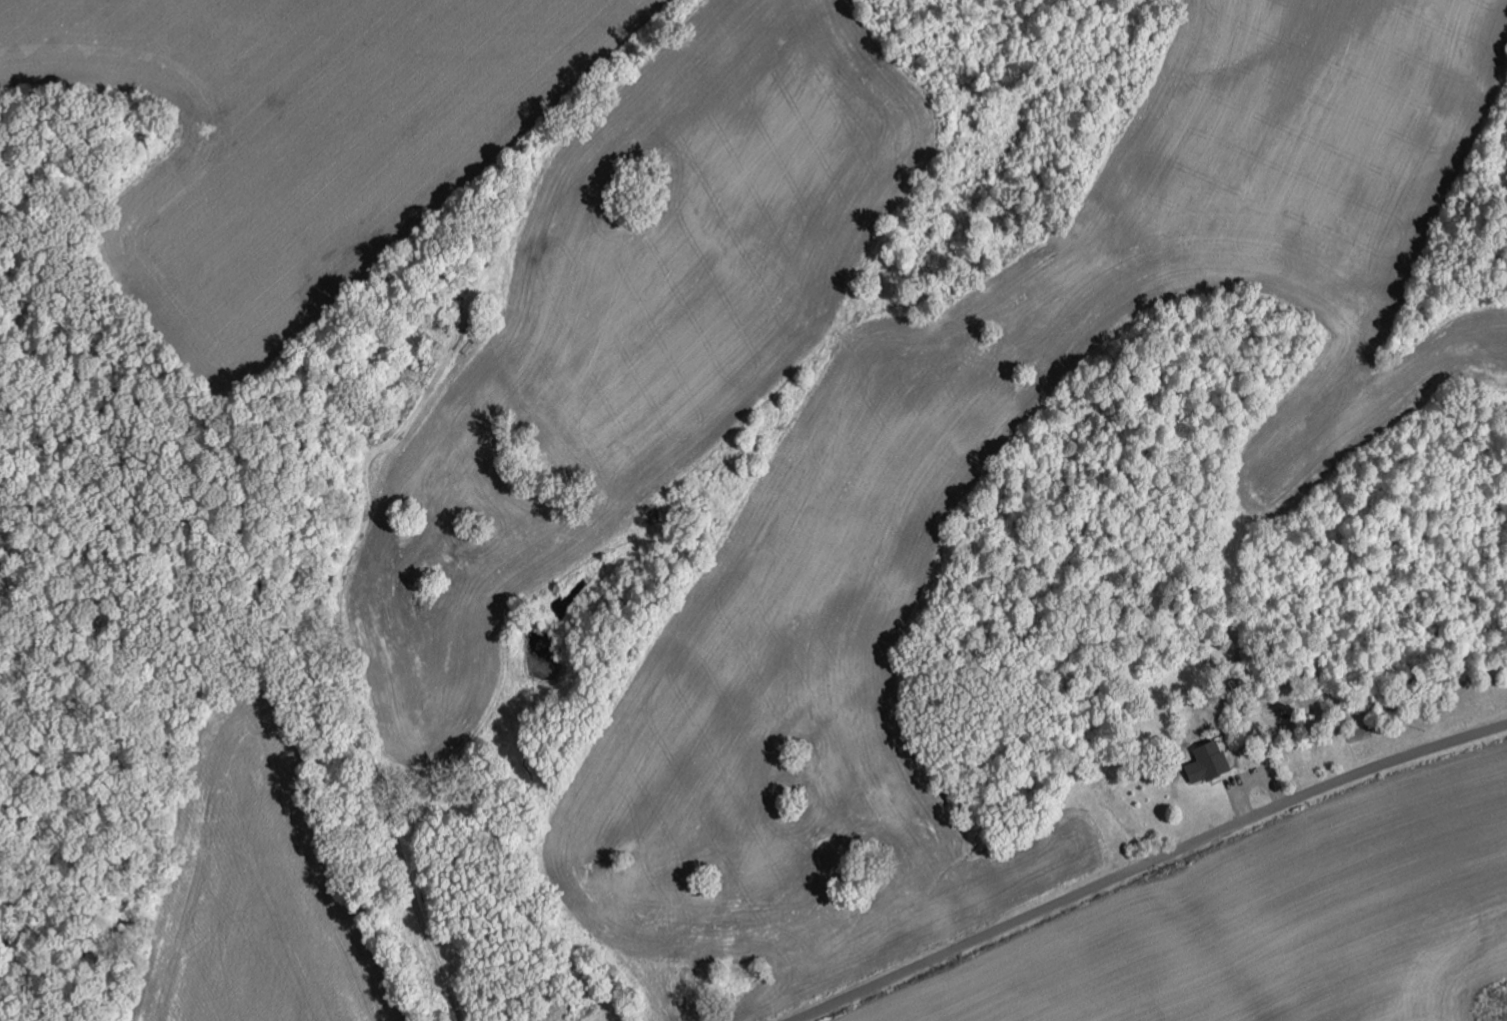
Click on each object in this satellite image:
building: (1209, 763)
road: (1146, 865)

